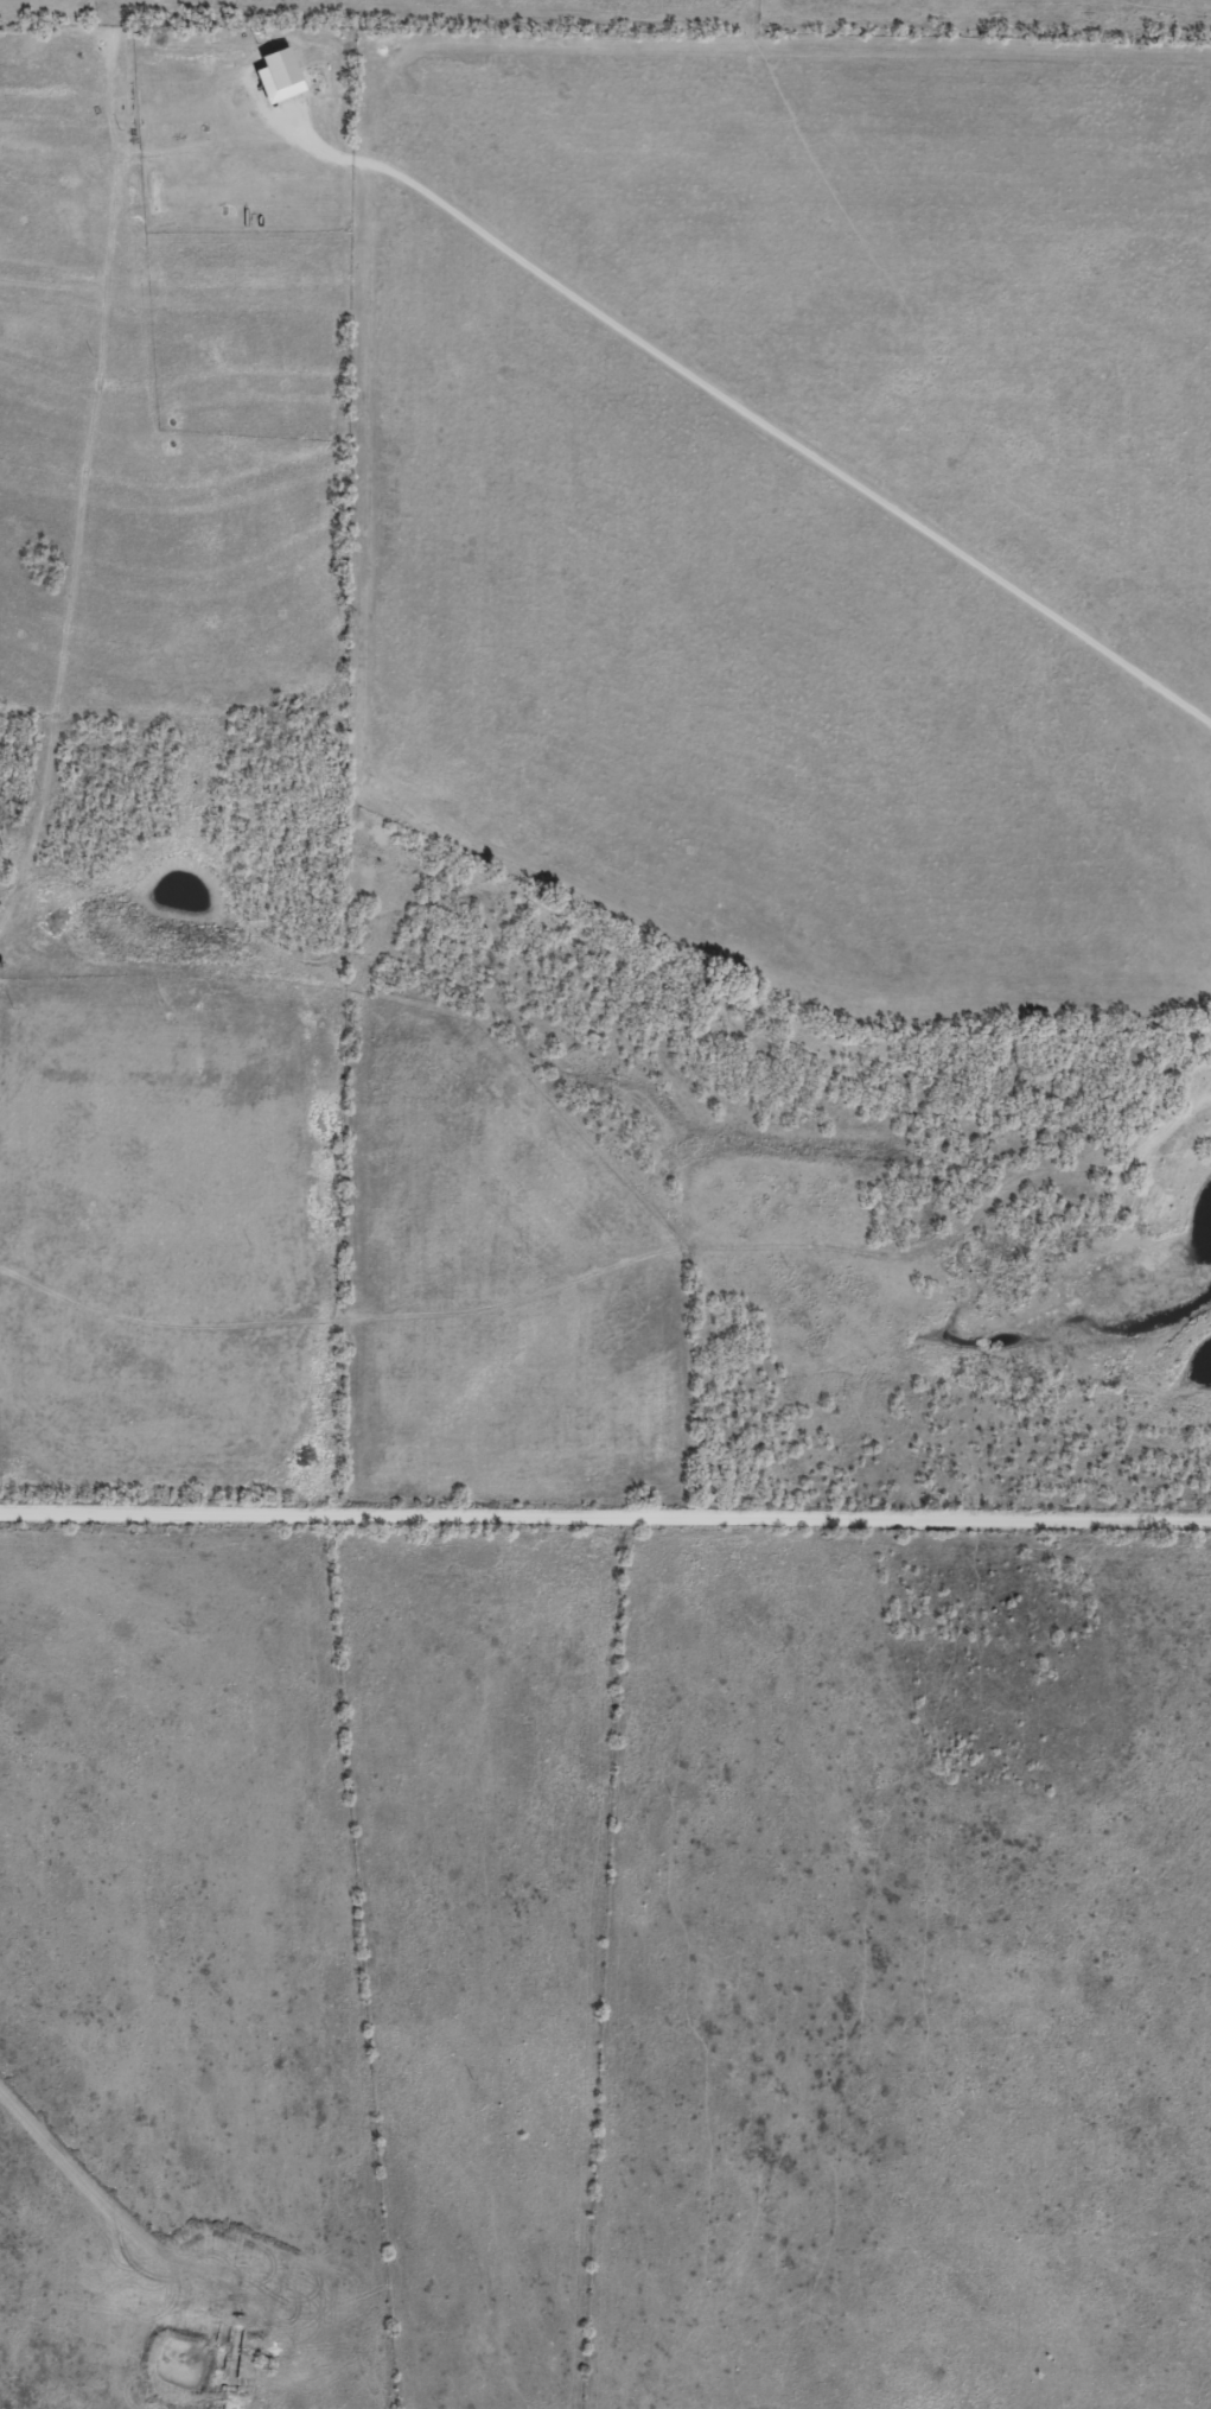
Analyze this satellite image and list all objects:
building: (285, 87)
road: (748, 424)
road: (605, 1526)

